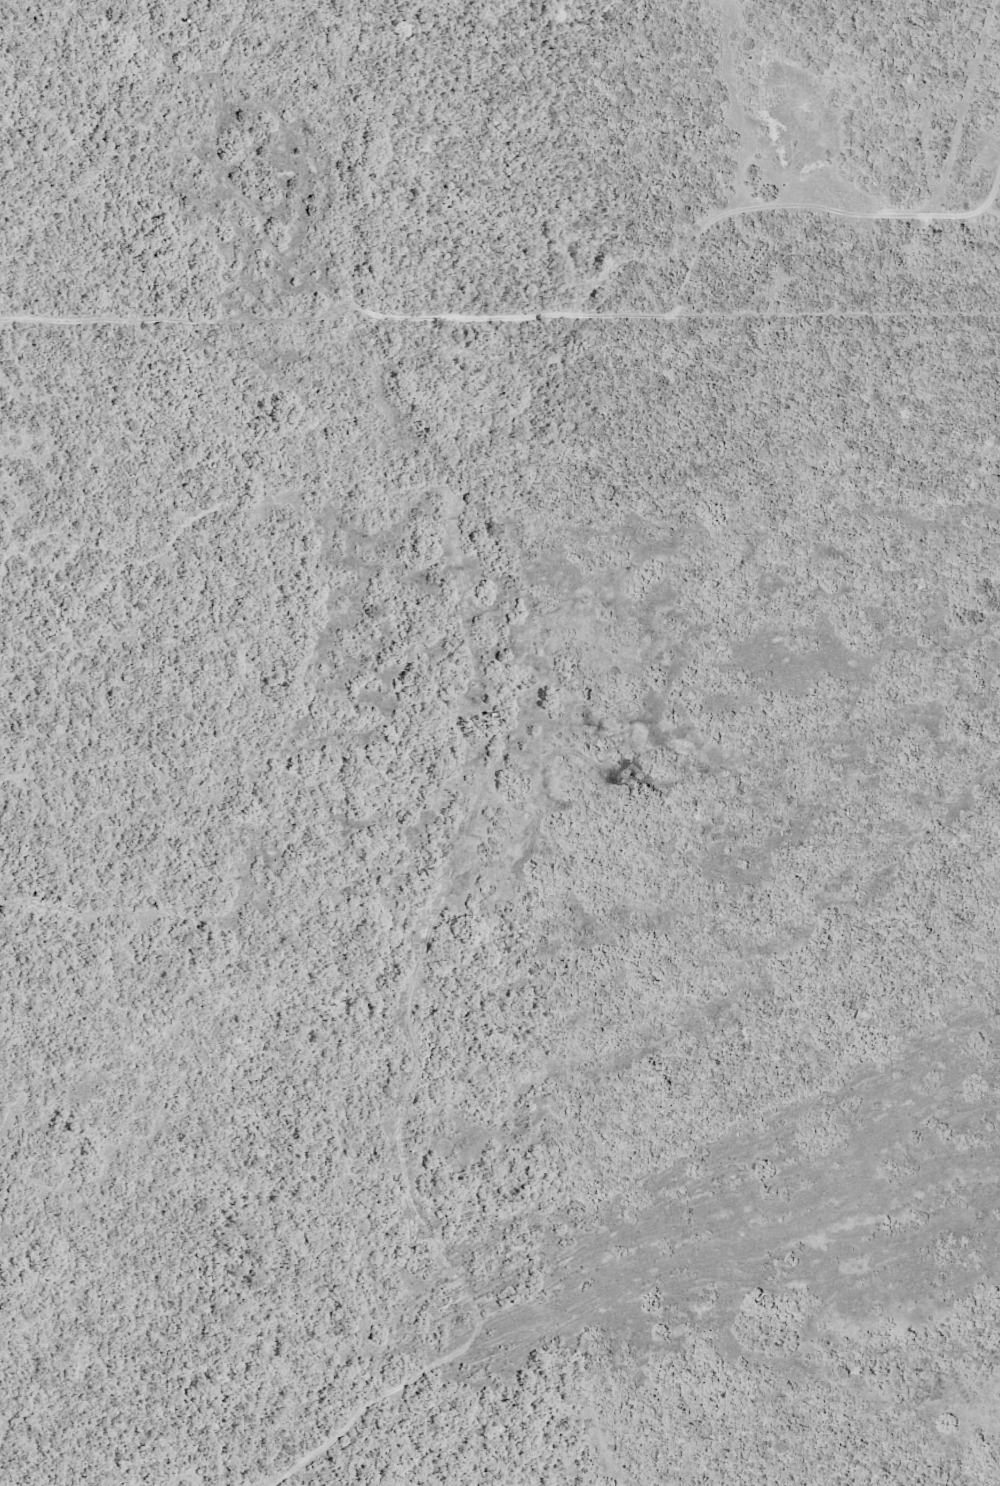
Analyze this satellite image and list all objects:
road: (635, 1325)

